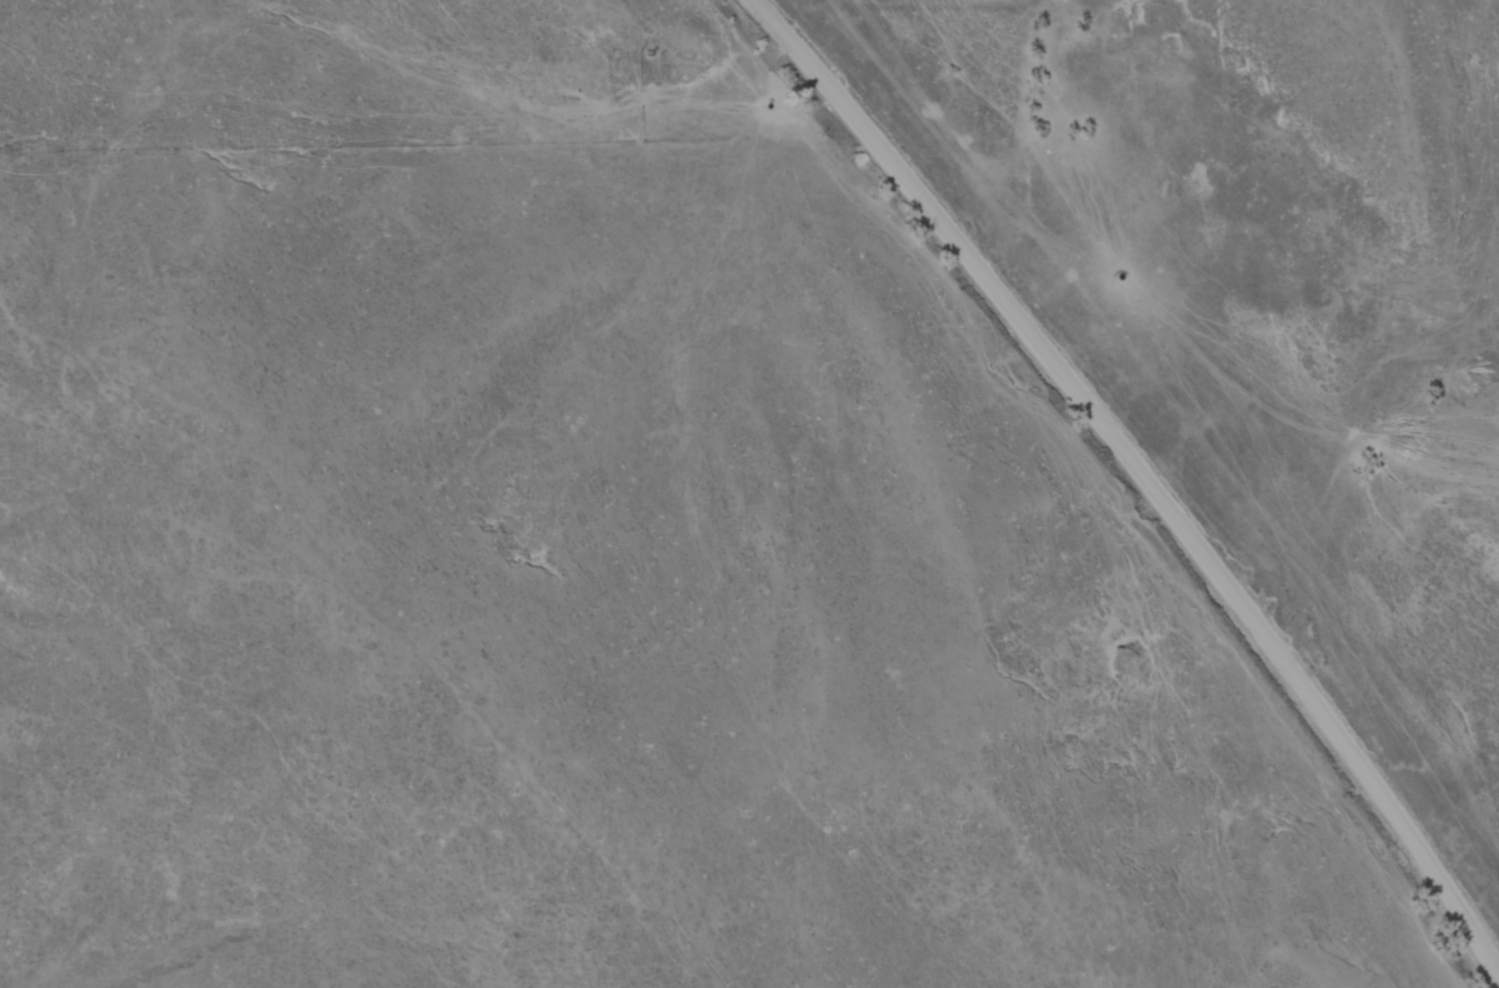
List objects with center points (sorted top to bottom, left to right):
road: (1144, 475)

